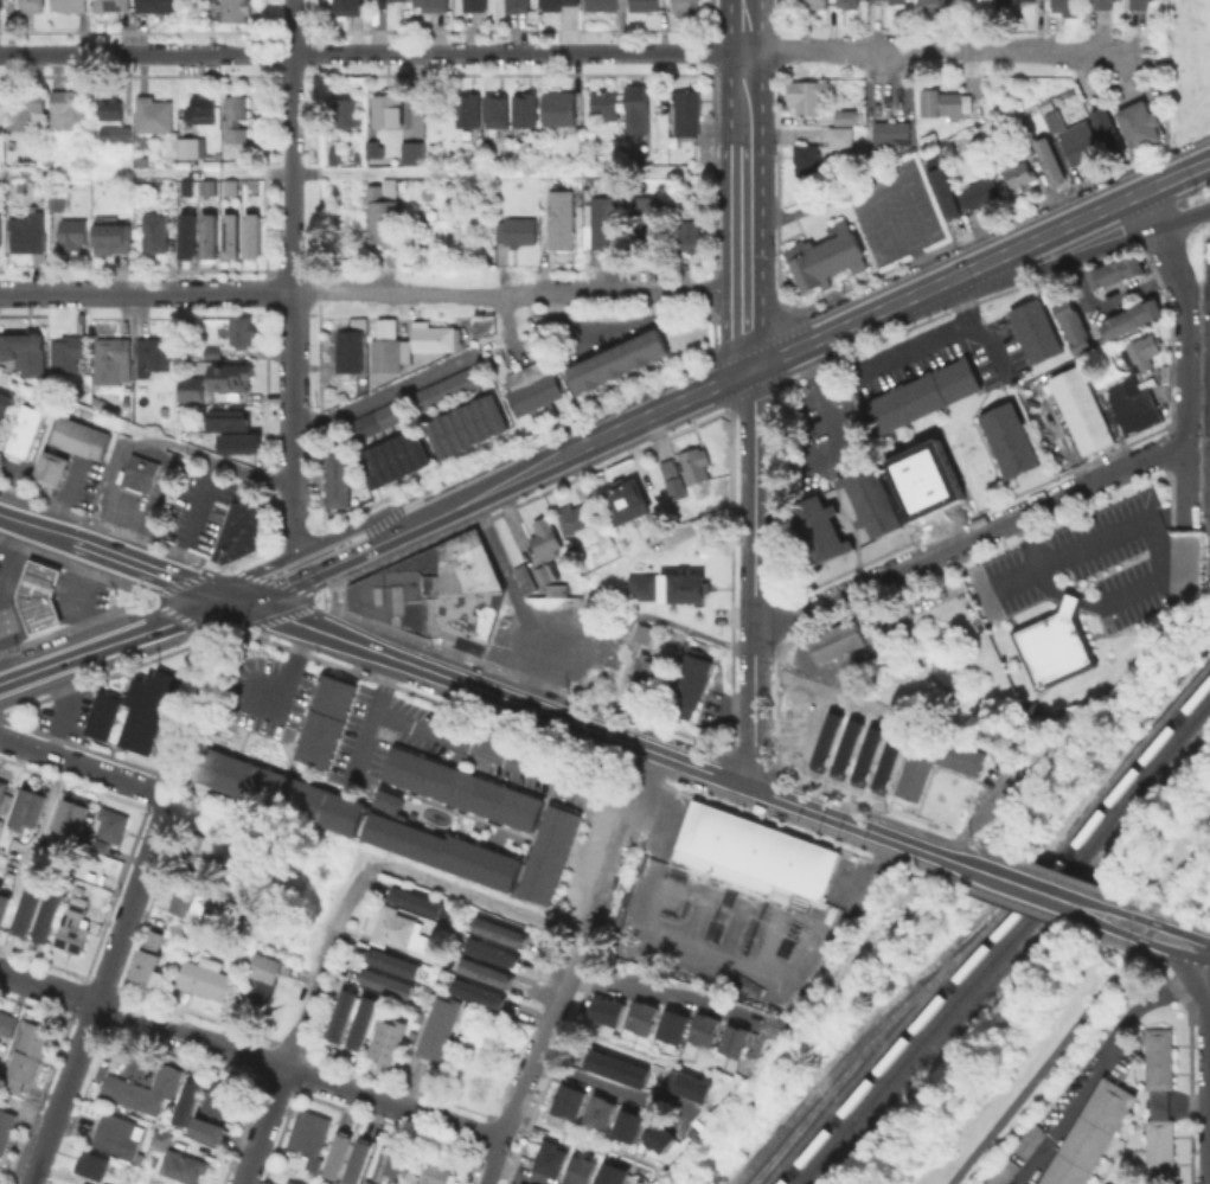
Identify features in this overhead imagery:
building: (401, 0)
building: (897, 1)
building: (1018, 1)
building: (817, 2)
building: (849, 2)
building: (931, 2)
building: (0, 4)
building: (70, 4)
building: (348, 4)
building: (685, 4)
building: (32, 5)
building: (113, 5)
building: (156, 5)
building: (555, 5)
building: (602, 5)
building: (644, 5)
building: (1067, 5)
building: (1103, 5)
building: (1139, 5)
building: (434, 6)
building: (476, 6)
building: (518, 6)
building: (235, 9)
road: (775, 17)
road: (775, 51)
road: (941, 51)
road: (373, 52)
building: (808, 101)
building: (945, 101)
building: (1048, 103)
building: (604, 104)
building: (559, 107)
building: (69, 108)
building: (110, 108)
building: (201, 108)
building: (468, 108)
building: (638, 108)
building: (26, 109)
building: (235, 109)
building: (388, 109)
building: (497, 109)
building: (525, 109)
building: (0, 111)
building: (347, 111)
road: (1190, 113)
building: (154, 114)
building: (686, 115)
building: (843, 116)
building: (1056, 120)
building: (1140, 128)
building: (580, 130)
building: (892, 132)
building: (116, 133)
building: (1108, 134)
building: (238, 137)
building: (841, 140)
building: (12, 143)
building: (190, 146)
building: (1081, 146)
building: (372, 147)
building: (414, 152)
building: (1026, 152)
building: (335, 153)
building: (1051, 159)
building: (142, 160)
building: (807, 160)
building: (2, 162)
building: (57, 165)
road: (374, 172)
building: (1019, 173)
road: (1177, 177)
road: (747, 185)
building: (20, 186)
building: (31, 186)
building: (187, 188)
building: (210, 188)
building: (233, 190)
building: (984, 190)
building: (942, 191)
building: (56, 200)
road: (794, 210)
building: (382, 212)
building: (646, 218)
building: (603, 219)
road: (1184, 219)
building: (562, 222)
road: (1201, 224)
road: (916, 226)
building: (0, 230)
building: (518, 230)
building: (28, 231)
building: (155, 231)
building: (73, 232)
building: (691, 235)
road: (1046, 236)
building: (212, 238)
building: (191, 239)
building: (233, 239)
building: (256, 239)
road: (1163, 239)
building: (114, 242)
building: (824, 258)
road: (1056, 263)
road: (922, 265)
building: (1113, 270)
road: (870, 276)
road: (292, 288)
road: (1196, 289)
road: (28, 293)
road: (175, 293)
road: (411, 293)
road: (639, 293)
road: (1108, 296)
building: (1126, 316)
building: (1070, 325)
road: (850, 326)
building: (242, 329)
building: (1037, 334)
building: (434, 338)
road: (980, 340)
road: (914, 346)
building: (348, 350)
building: (68, 351)
building: (212, 351)
building: (386, 351)
building: (1142, 352)
building: (25, 354)
building: (114, 354)
building: (155, 356)
building: (615, 359)
building: (235, 379)
building: (532, 386)
building: (450, 389)
building: (193, 391)
road: (384, 391)
building: (927, 399)
road: (1199, 401)
building: (98, 403)
road: (822, 403)
road: (1186, 407)
building: (4, 408)
road: (1198, 410)
building: (1105, 411)
building: (225, 418)
building: (5, 422)
building: (378, 423)
building: (469, 429)
building: (27, 430)
building: (334, 431)
road: (612, 433)
building: (79, 436)
road: (145, 436)
road: (982, 441)
building: (1009, 441)
building: (237, 442)
building: (397, 461)
building: (694, 463)
building: (49, 467)
building: (141, 471)
road: (1198, 474)
building: (673, 478)
building: (923, 479)
building: (339, 484)
building: (623, 500)
building: (873, 503)
building: (575, 516)
road: (193, 518)
road: (37, 527)
building: (239, 531)
building: (603, 535)
building: (820, 535)
building: (545, 537)
road: (969, 538)
road: (353, 549)
road: (1077, 551)
road: (1037, 562)
road: (154, 571)
building: (543, 574)
road: (1158, 576)
building: (525, 577)
road: (754, 578)
building: (666, 583)
building: (435, 590)
building: (40, 599)
gas station: (40, 599)
road: (81, 599)
road: (517, 599)
road: (0, 600)
traffic signals: (235, 601)
road: (1075, 601)
road: (841, 613)
road: (274, 617)
building: (644, 632)
road: (220, 633)
parking lot: (545, 638)
building: (834, 640)
road: (117, 642)
building: (1058, 646)
road: (287, 668)
building: (648, 668)
road: (192, 676)
road: (385, 684)
building: (691, 684)
road: (199, 697)
building: (135, 706)
road: (62, 709)
building: (324, 719)
road: (422, 725)
building: (802, 727)
road: (598, 732)
building: (825, 741)
building: (845, 748)
building: (865, 755)
road: (598, 760)
building: (886, 762)
road: (83, 766)
building: (931, 769)
road: (561, 775)
building: (2, 788)
building: (460, 788)
building: (275, 789)
railway: (1096, 791)
building: (386, 799)
building: (28, 802)
building: (70, 812)
building: (111, 824)
park: (1170, 843)
road: (620, 844)
building: (100, 845)
building: (196, 849)
building: (441, 850)
building: (546, 852)
building: (754, 857)
road: (1049, 871)
road: (1180, 873)
road: (1020, 885)
road: (350, 897)
road: (479, 897)
road: (133, 898)
building: (417, 898)
building: (4, 900)
building: (188, 900)
building: (27, 903)
road: (1096, 903)
building: (49, 910)
road: (1030, 913)
road: (1088, 917)
building: (73, 924)
road: (1160, 924)
building: (397, 928)
railway: (994, 929)
road: (1146, 930)
building: (501, 932)
railway: (1001, 939)
road: (1152, 941)
railway: (1009, 948)
building: (492, 949)
road: (1204, 949)
building: (149, 960)
building: (395, 961)
building: (265, 962)
building: (485, 971)
building: (206, 978)
building: (388, 981)
building: (478, 991)
building: (260, 993)
road: (666, 993)
road: (310, 998)
building: (608, 1010)
building: (339, 1015)
building: (644, 1016)
building: (359, 1022)
building: (7, 1023)
building: (674, 1026)
building: (708, 1028)
building: (437, 1031)
road: (1189, 1032)
building: (33, 1037)
building: (737, 1037)
building: (388, 1039)
building: (4, 1043)
railway: (852, 1049)
railway: (872, 1054)
road: (250, 1056)
building: (1157, 1057)
road: (536, 1060)
road: (1105, 1062)
park: (1036, 1065)
road: (1045, 1065)
building: (614, 1067)
building: (21, 1068)
railway: (831, 1084)
building: (690, 1087)
road: (616, 1089)
building: (141, 1090)
road: (62, 1093)
building: (220, 1097)
building: (185, 1100)
building: (566, 1101)
building: (1157, 1103)
building: (602, 1109)
building: (629, 1125)
road: (263, 1126)
building: (6, 1127)
building: (211, 1127)
building: (312, 1132)
building: (117, 1133)
building: (1088, 1133)
building: (658, 1134)
building: (1027, 1140)
building: (1157, 1147)
building: (338, 1152)
railway: (751, 1157)
building: (178, 1159)
building: (358, 1159)
building: (548, 1159)
building: (139, 1160)
building: (396, 1161)
street lamp: (937, 1161)
building: (92, 1164)
building: (582, 1170)
building: (1001, 1171)
building: (431, 1172)
building: (608, 1172)
road: (519, 1175)
building: (292, 1182)
building: (370, 1182)
building: (103, 1183)
building: (105, 1183)
building: (518, 1183)

